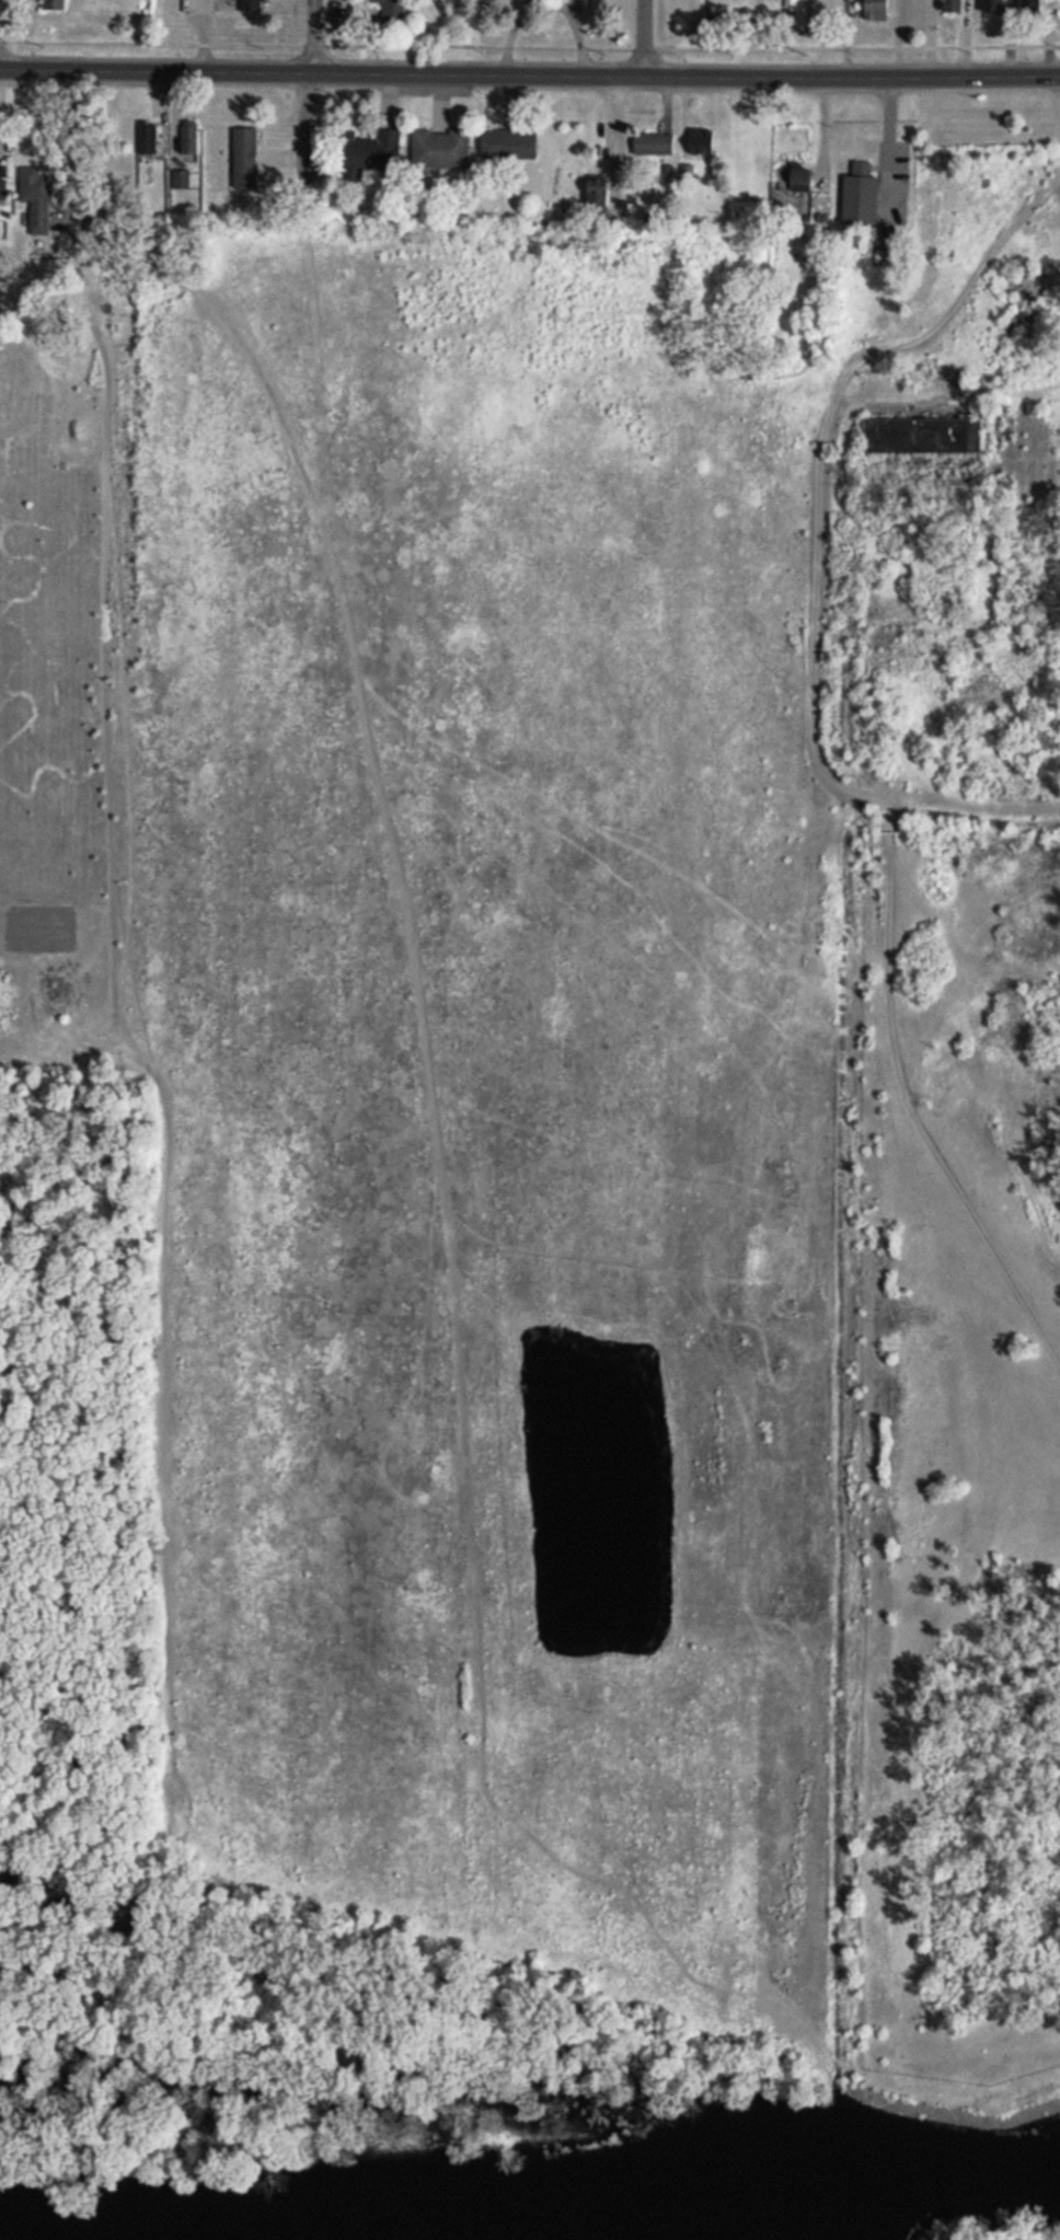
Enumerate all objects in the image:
building: (55, 7)
building: (253, 7)
building: (953, 7)
building: (993, 8)
building: (1030, 8)
building: (872, 10)
building: (393, 12)
building: (911, 13)
road: (644, 38)
road: (530, 76)
road: (309, 106)
building: (189, 140)
building: (149, 141)
building: (703, 145)
building: (655, 147)
building: (511, 148)
building: (442, 152)
building: (372, 157)
building: (246, 161)
building: (183, 182)
building: (793, 189)
building: (3, 192)
building: (861, 196)
building: (599, 199)
building: (37, 201)
building: (922, 436)

